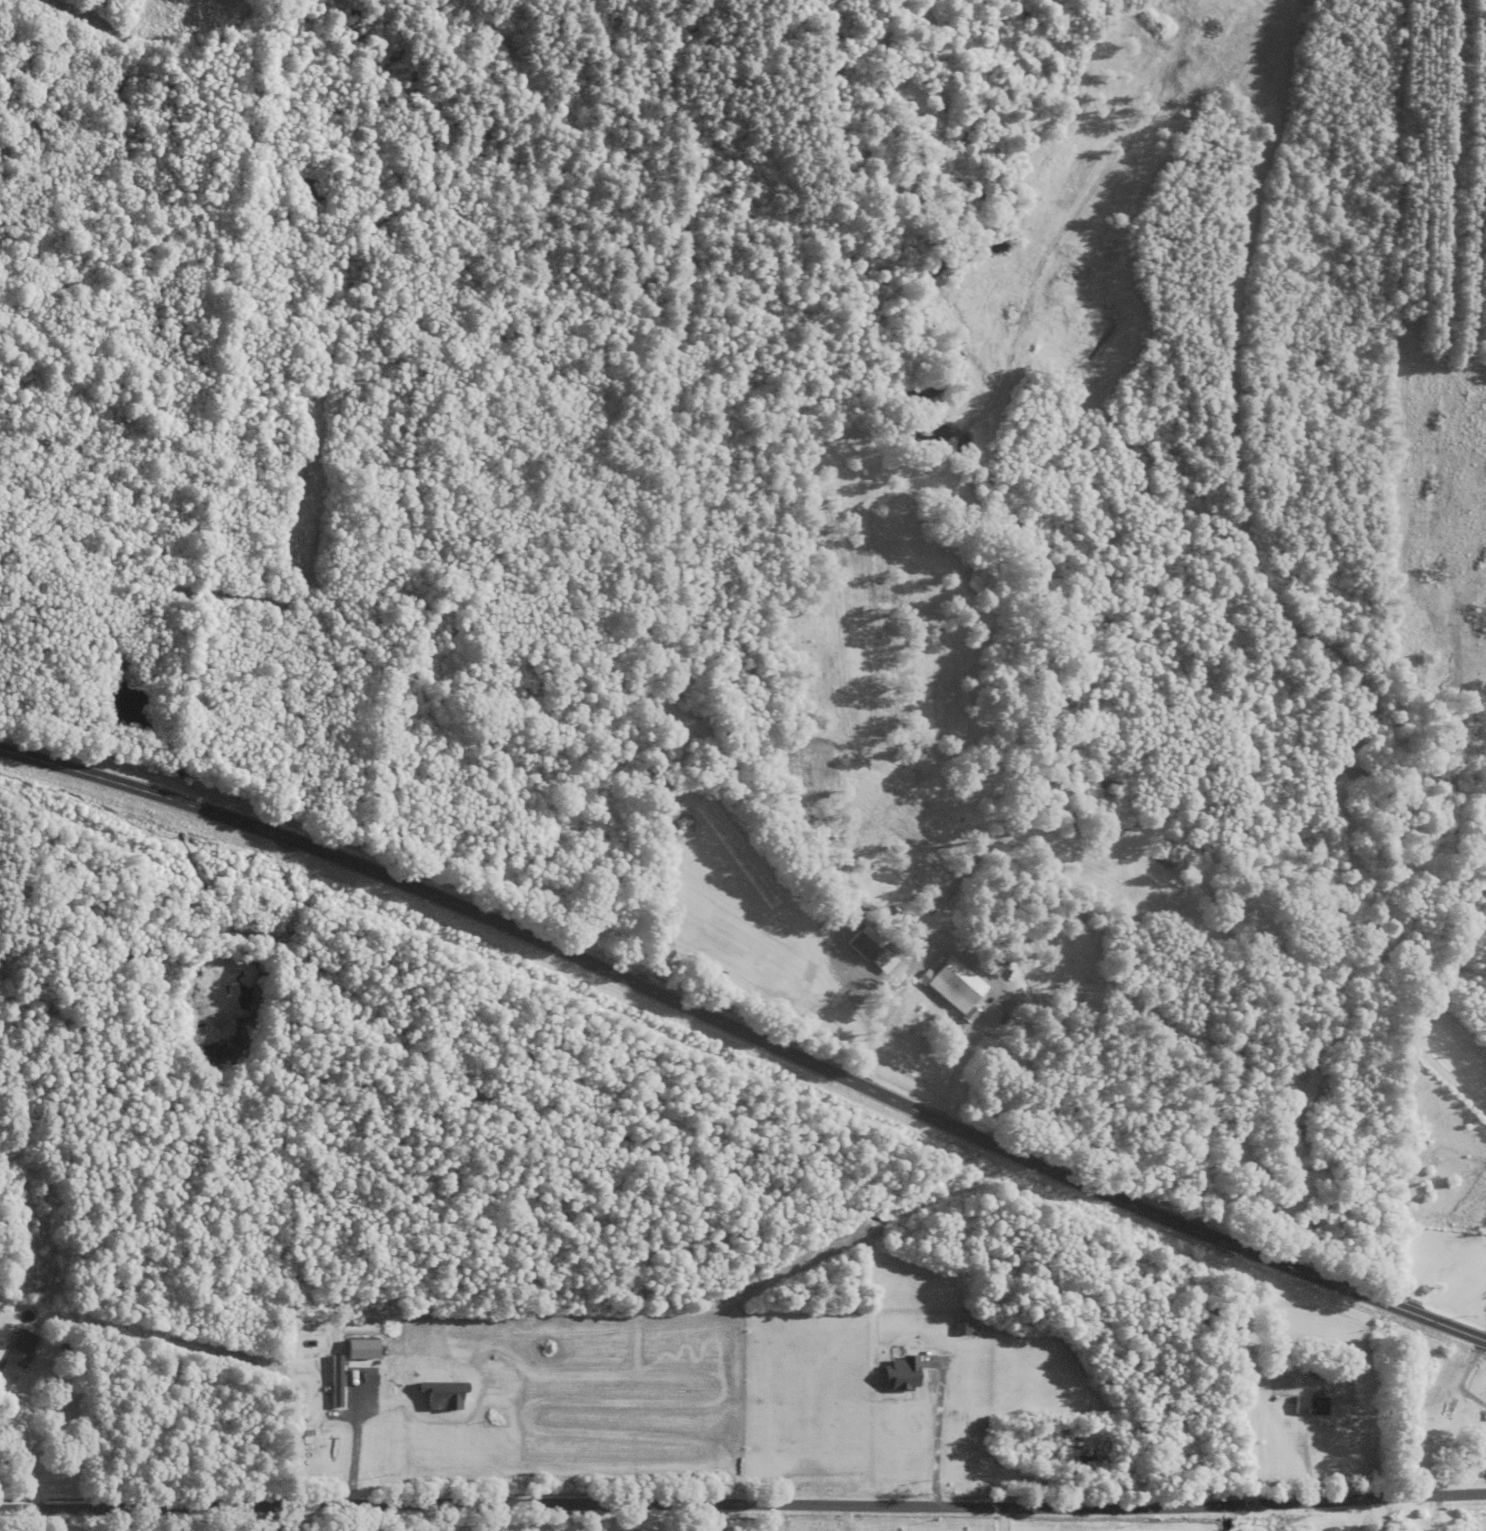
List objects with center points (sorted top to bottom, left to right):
river: (1059, 653)
building: (868, 941)
road: (963, 954)
building: (885, 960)
road: (847, 978)
building: (957, 984)
road: (747, 1032)
building: (913, 1049)
building: (962, 1326)
road: (1485, 1339)
building: (24, 1346)
building: (903, 1373)
road: (1461, 1377)
building: (337, 1380)
building: (1312, 1403)
road: (937, 1427)
road: (24, 1440)
road: (354, 1445)
building: (1455, 1454)
road: (743, 1503)
road: (1377, 1513)
road: (603, 1516)
road: (1002, 1519)
building: (1417, 1530)

